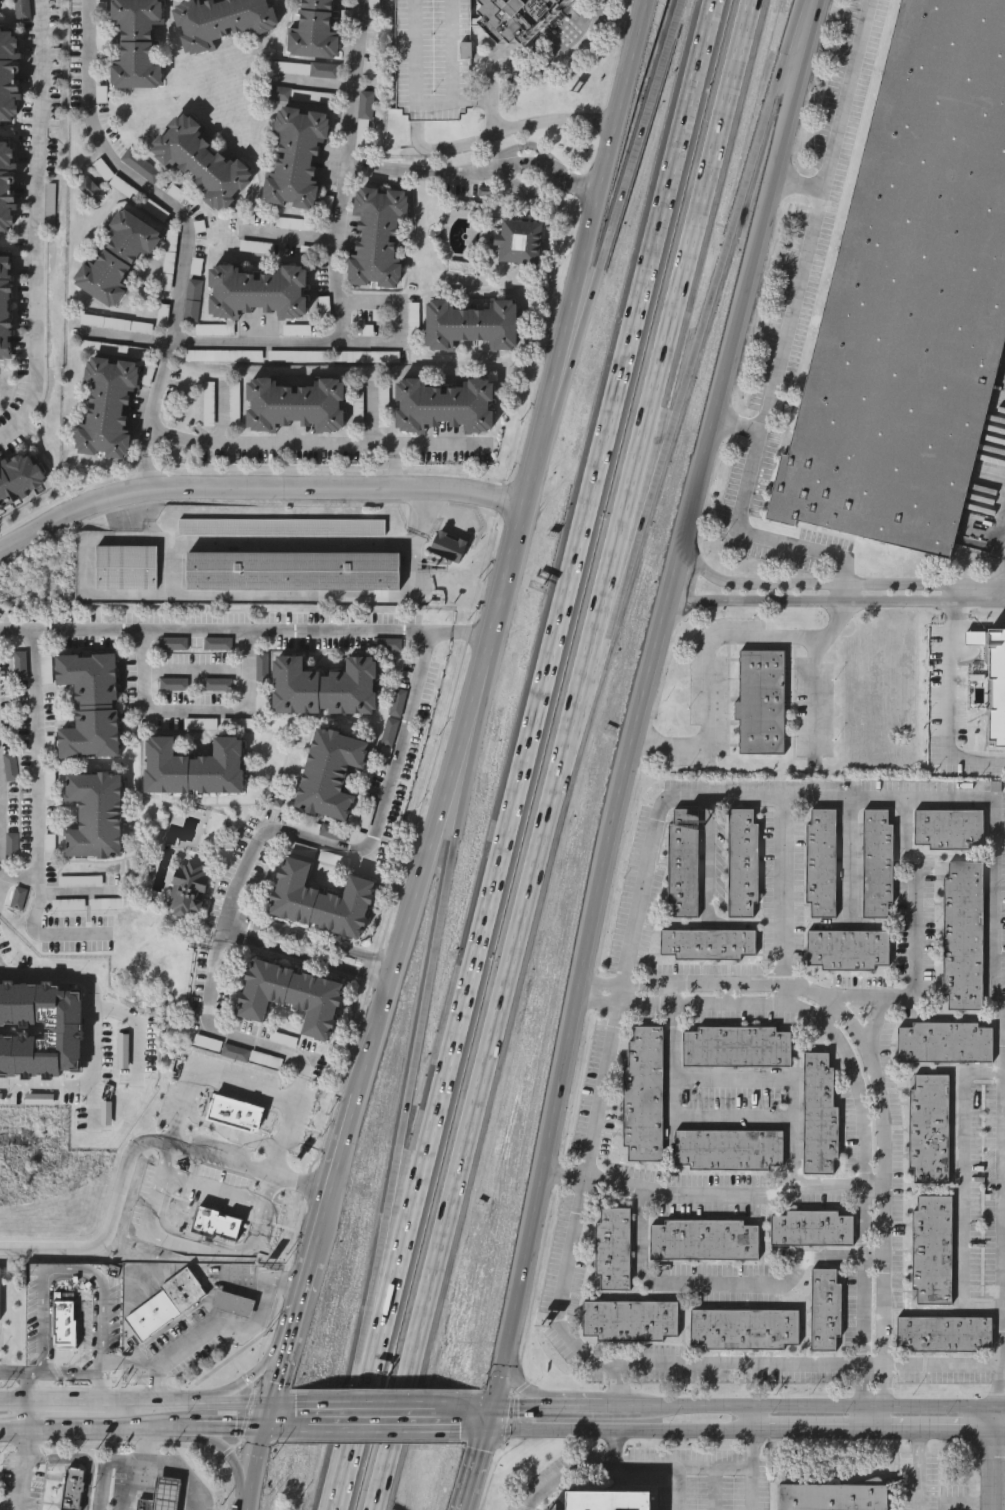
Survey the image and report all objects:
building: (21, 11)
building: (519, 17)
building: (223, 19)
building: (315, 31)
building: (136, 43)
building: (433, 59)
parking lot: (433, 59)
building: (10, 76)
road: (314, 83)
road: (489, 88)
road: (848, 96)
building: (298, 157)
building: (204, 161)
road: (630, 165)
road: (475, 170)
road: (133, 176)
road: (769, 186)
building: (6, 188)
road: (595, 205)
road: (37, 226)
road: (290, 237)
building: (379, 237)
building: (519, 240)
building: (121, 255)
road: (336, 255)
road: (714, 284)
road: (801, 286)
building: (259, 290)
building: (911, 297)
building: (6, 307)
road: (400, 316)
building: (472, 324)
road: (669, 326)
road: (127, 336)
road: (564, 372)
road: (159, 383)
building: (295, 404)
building: (445, 405)
building: (107, 407)
road: (148, 441)
road: (315, 444)
road: (536, 458)
road: (402, 466)
road: (148, 475)
building: (20, 480)
road: (255, 488)
road: (426, 514)
road: (453, 514)
road: (741, 525)
building: (282, 526)
building: (448, 546)
building: (126, 567)
road: (173, 568)
building: (292, 570)
road: (504, 583)
road: (1003, 595)
road: (836, 596)
road: (375, 597)
road: (608, 611)
road: (456, 633)
road: (419, 638)
road: (708, 650)
road: (197, 669)
road: (144, 672)
road: (249, 672)
road: (545, 674)
building: (326, 688)
building: (997, 688)
road: (815, 695)
building: (761, 700)
road: (949, 702)
building: (398, 704)
building: (91, 705)
road: (478, 710)
road: (196, 713)
road: (37, 756)
building: (196, 767)
building: (330, 772)
road: (719, 797)
road: (943, 798)
building: (94, 814)
building: (949, 829)
road: (2, 836)
building: (15, 847)
road: (716, 854)
road: (854, 858)
building: (684, 863)
building: (743, 863)
building: (822, 863)
building: (877, 863)
road: (914, 873)
road: (419, 879)
road: (602, 890)
building: (187, 891)
road: (81, 895)
building: (21, 900)
building: (319, 900)
building: (70, 907)
road: (224, 926)
building: (963, 934)
road: (47, 935)
road: (311, 940)
building: (708, 943)
building: (848, 949)
road: (305, 959)
road: (55, 976)
road: (699, 980)
road: (599, 982)
road: (615, 993)
road: (783, 993)
building: (292, 998)
road: (858, 998)
road: (595, 1003)
road: (698, 1004)
road: (424, 1005)
road: (827, 1011)
road: (243, 1039)
building: (282, 1041)
building: (945, 1041)
building: (737, 1046)
building: (239, 1051)
road: (752, 1078)
road: (481, 1081)
road: (243, 1086)
road: (87, 1093)
building: (644, 1093)
road: (963, 1097)
building: (241, 1104)
road: (595, 1107)
road: (862, 1112)
building: (819, 1113)
road: (774, 1122)
building: (929, 1129)
road: (133, 1147)
building: (729, 1149)
road: (884, 1174)
road: (332, 1176)
road: (158, 1186)
road: (213, 1186)
road: (631, 1186)
road: (828, 1186)
road: (873, 1186)
road: (1001, 1189)
road: (262, 1209)
building: (219, 1213)
building: (812, 1228)
road: (192, 1235)
building: (704, 1240)
road: (197, 1246)
building: (613, 1248)
building: (932, 1249)
road: (872, 1258)
road: (69, 1269)
road: (302, 1290)
building: (0, 1293)
road: (378, 1303)
building: (167, 1304)
building: (234, 1304)
building: (825, 1310)
building: (630, 1319)
building: (64, 1325)
road: (236, 1326)
building: (744, 1328)
road: (862, 1334)
building: (944, 1334)
road: (279, 1363)
road: (742, 1364)
road: (872, 1364)
road: (941, 1364)
road: (143, 1368)
road: (14, 1373)
road: (63, 1373)
road: (246, 1382)
road: (521, 1386)
road: (64, 1402)
road: (136, 1402)
road: (13, 1403)
road: (219, 1405)
road: (279, 1406)
traffic signals: (267, 1407)
road: (380, 1407)
road: (481, 1408)
road: (524, 1408)
road: (590, 1408)
road: (633, 1408)
traffic signals: (492, 1409)
road: (818, 1409)
road: (1001, 1410)
road: (28, 1417)
road: (265, 1417)
road: (488, 1420)
road: (868, 1420)
road: (99, 1428)
road: (183, 1428)
road: (229, 1428)
traffic signals: (263, 1428)
road: (276, 1428)
road: (356, 1429)
road: (370, 1429)
road: (467, 1430)
traffic signals: (484, 1431)
road: (14, 1432)
road: (617, 1432)
road: (809, 1432)
road: (933, 1432)
road: (1001, 1432)
road: (227, 1453)
road: (997, 1459)
road: (106, 1467)
road: (168, 1467)
road: (711, 1467)
road: (253, 1468)
road: (580, 1469)
road: (22, 1470)
road: (472, 1470)
road: (919, 1471)
road: (135, 1484)
road: (716, 1488)
road: (751, 1488)
building: (73, 1489)
road: (680, 1489)
gas station: (167, 1495)
building: (832, 1499)
building: (608, 1503)
building: (146, 1504)

